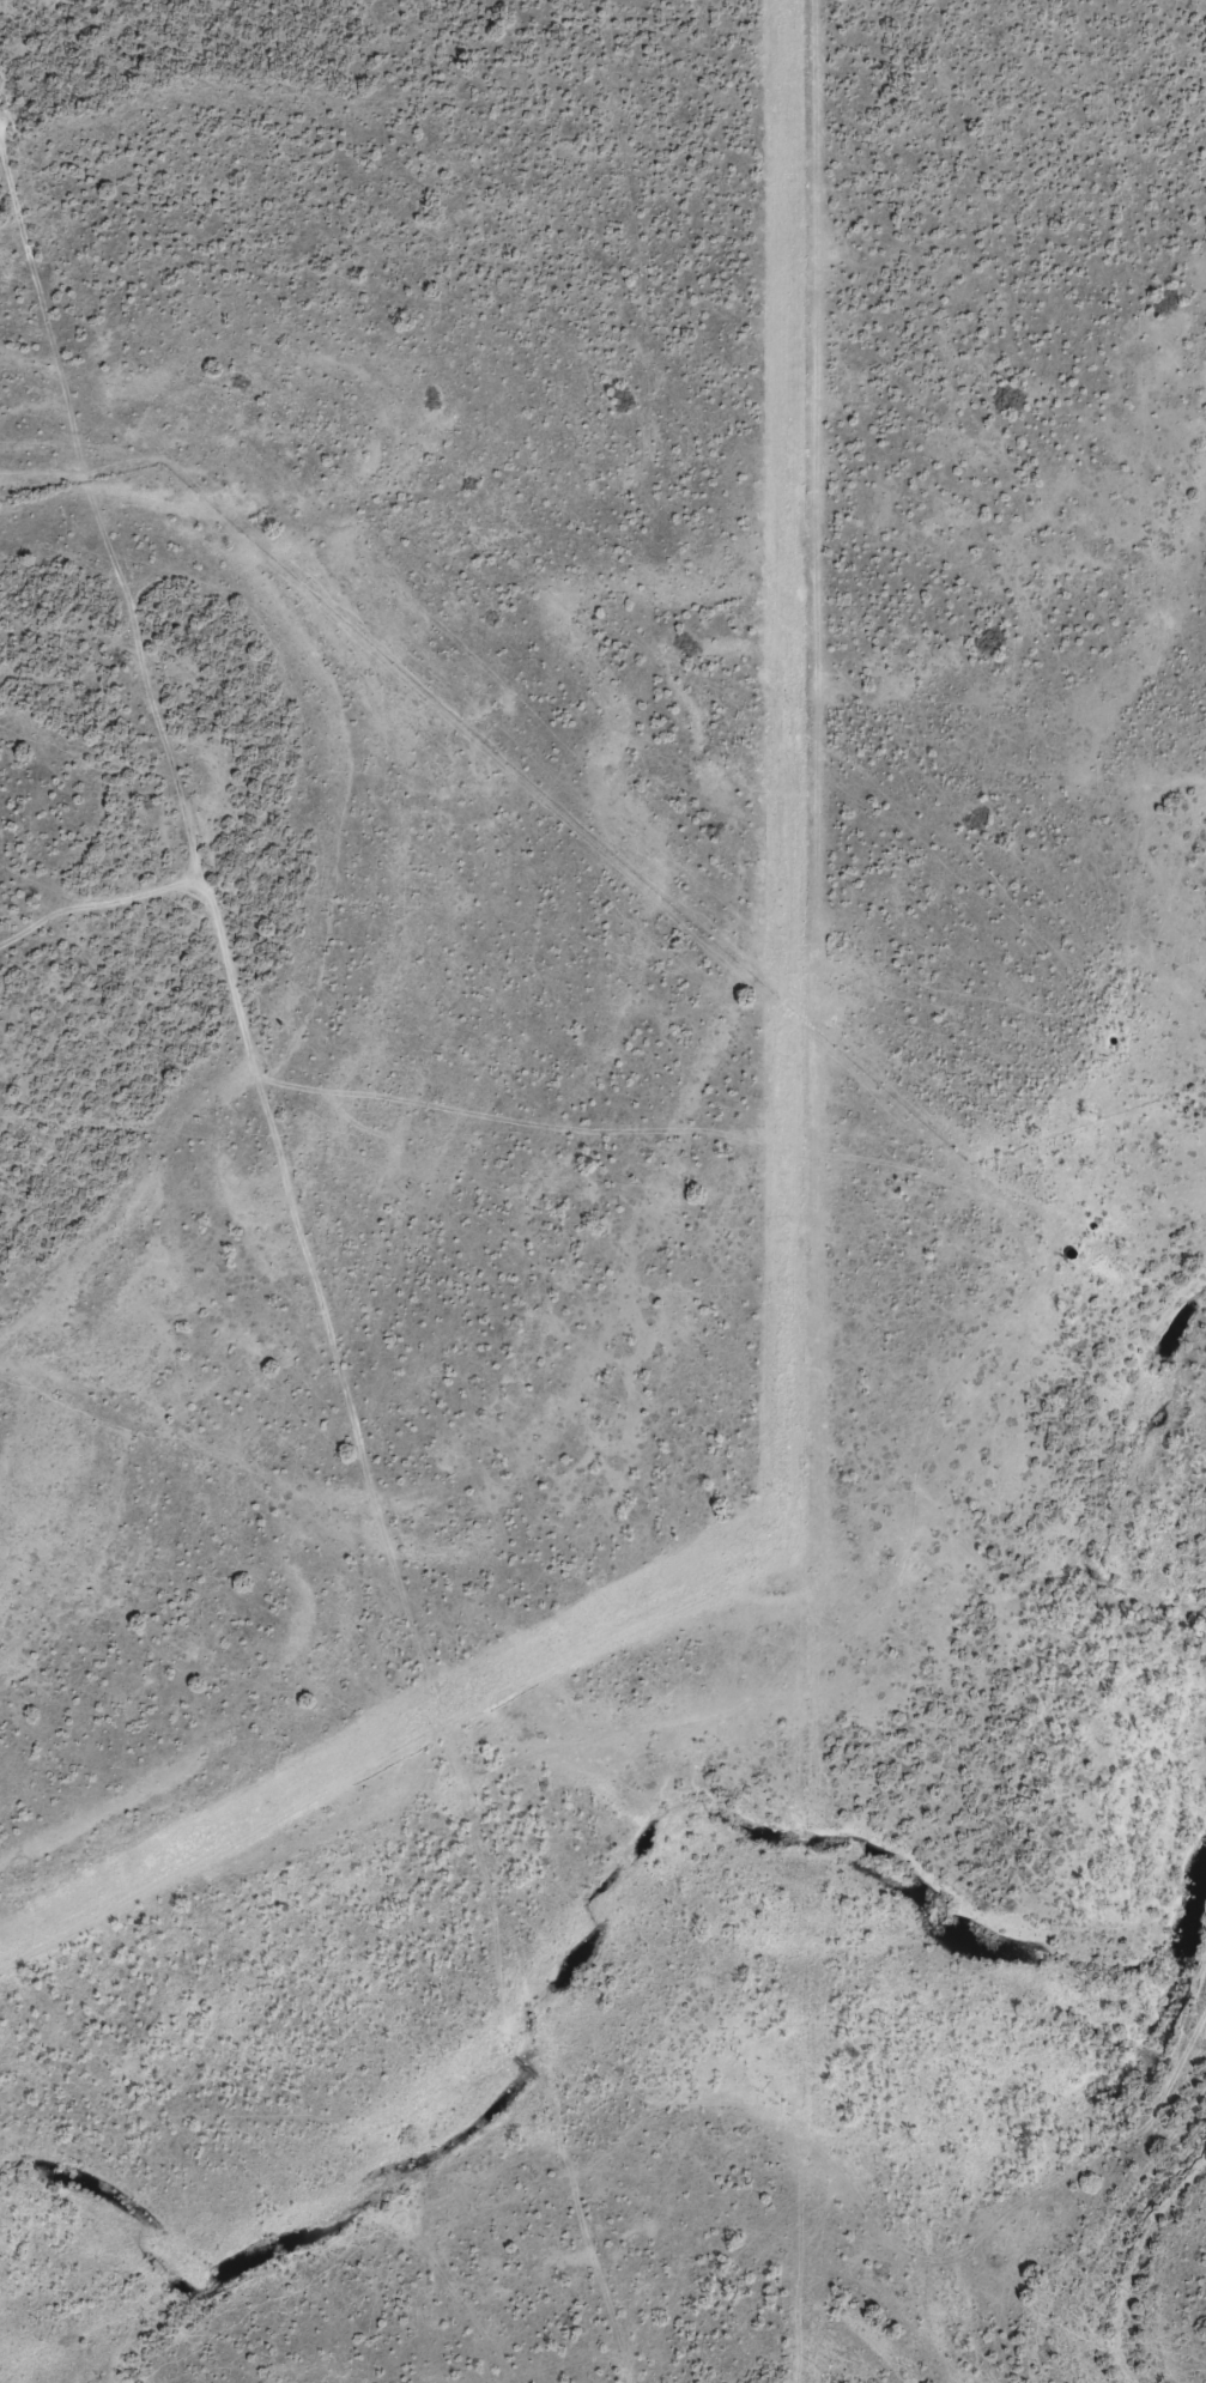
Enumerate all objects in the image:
road: (642, 2151)

